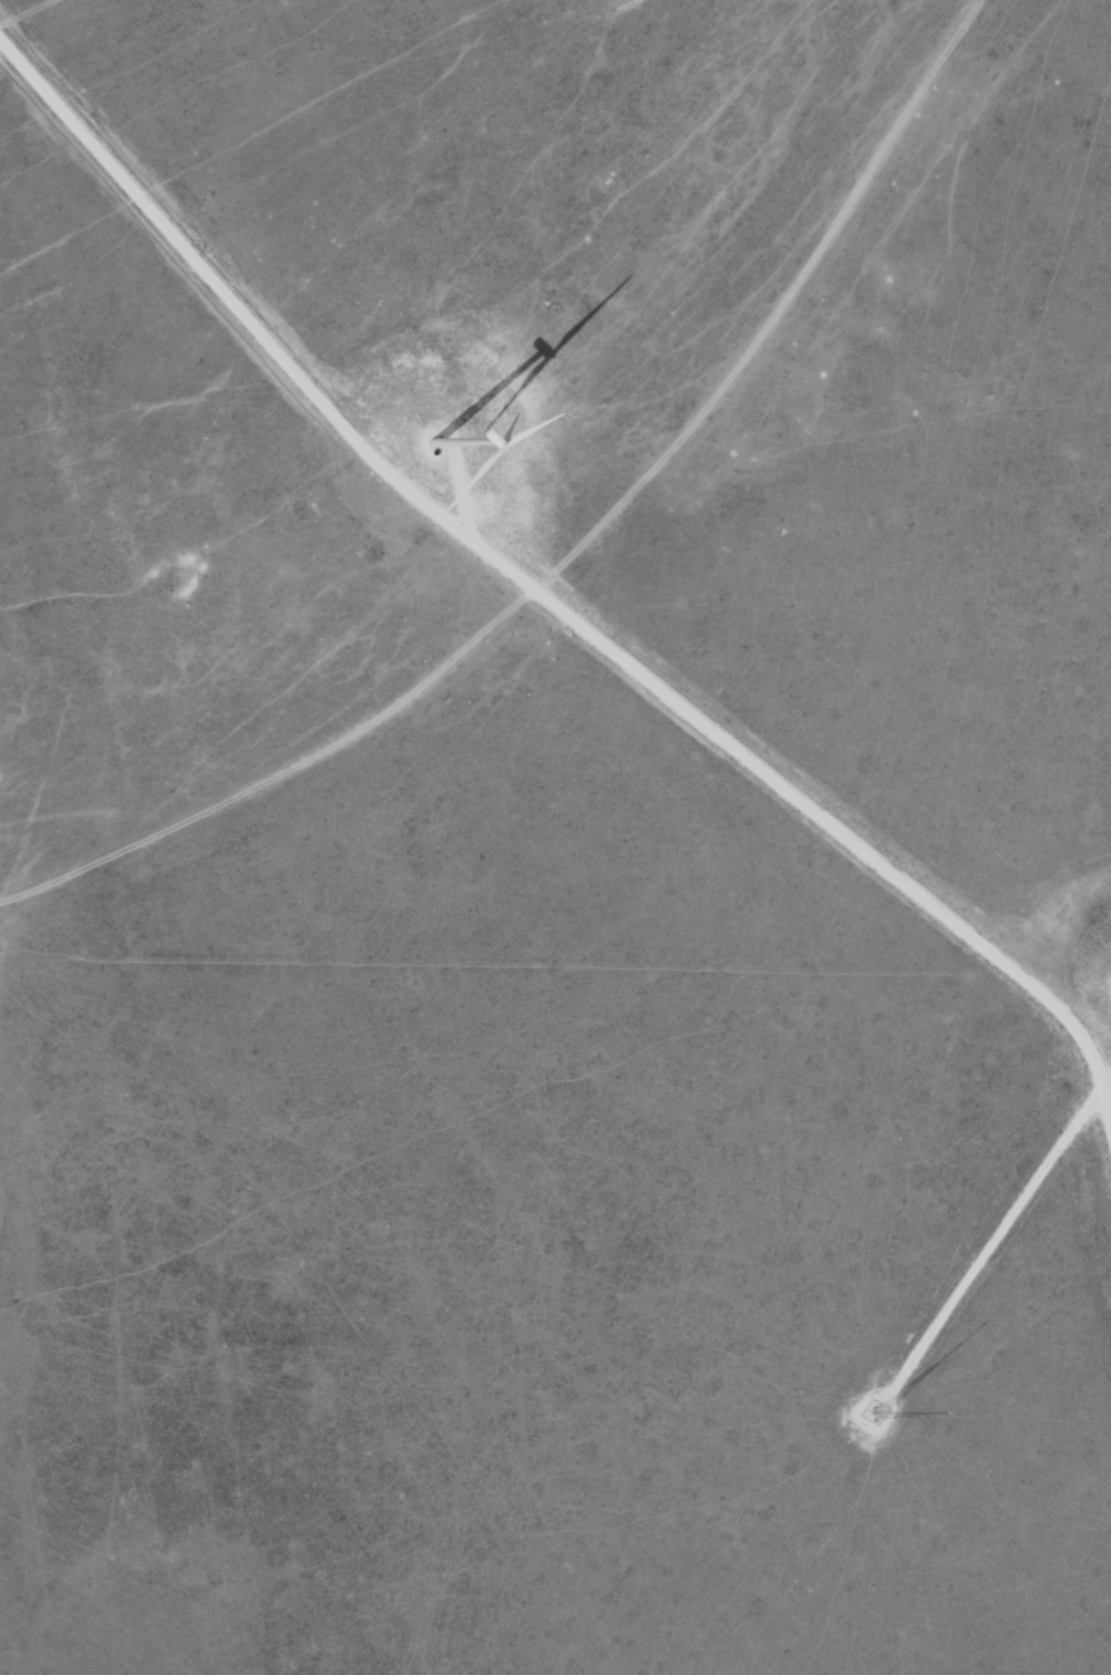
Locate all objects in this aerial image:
wind turbine: (436, 450)
road: (460, 485)
road: (544, 596)
road: (998, 1234)

